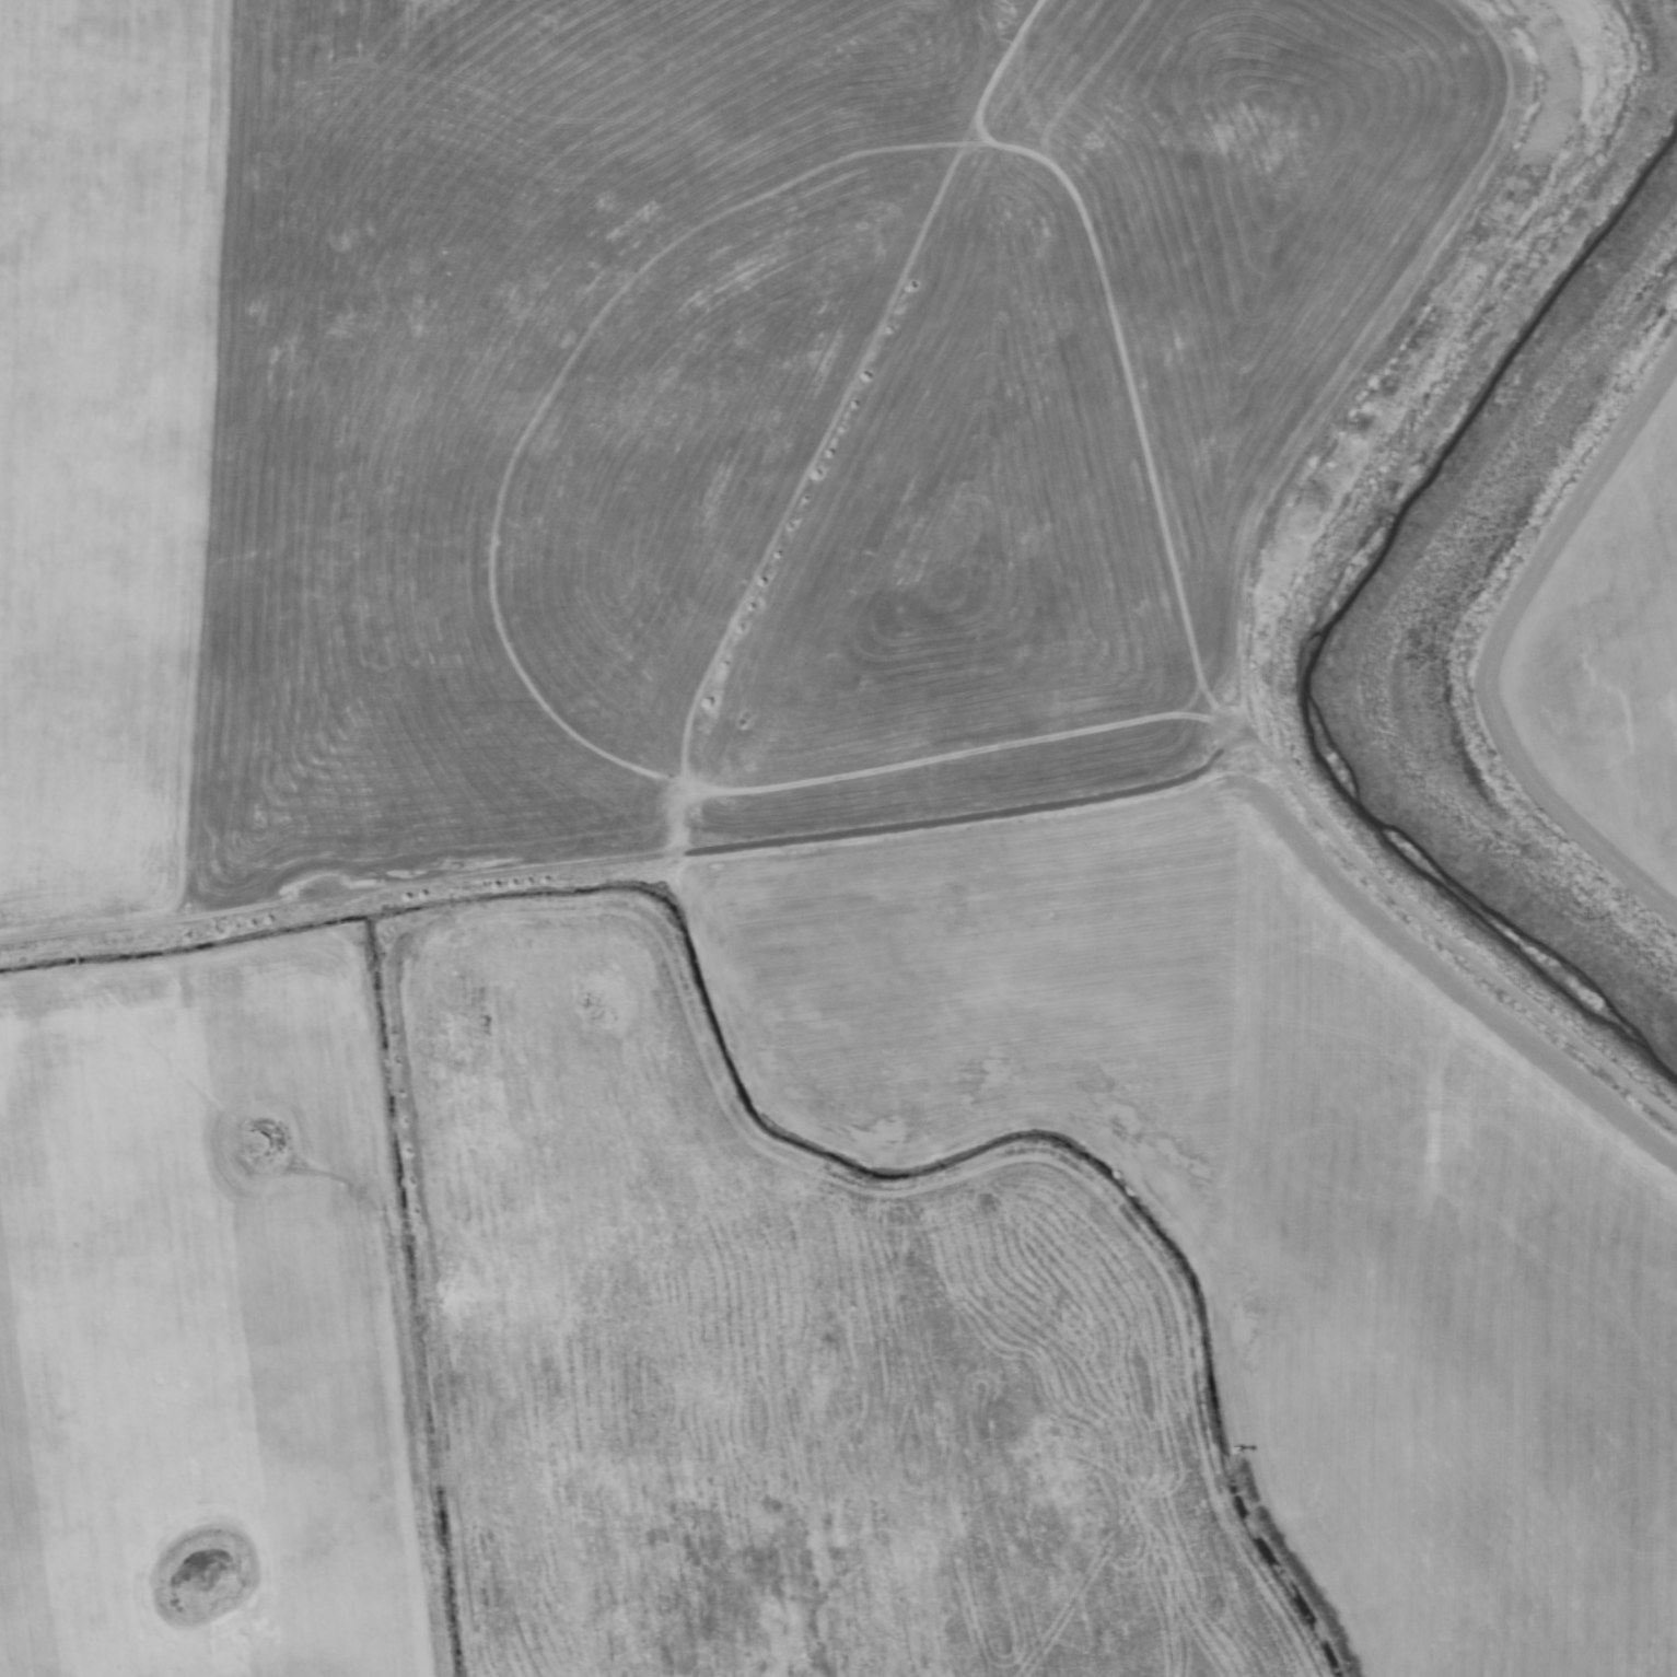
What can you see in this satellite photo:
road: (1280, 609)

